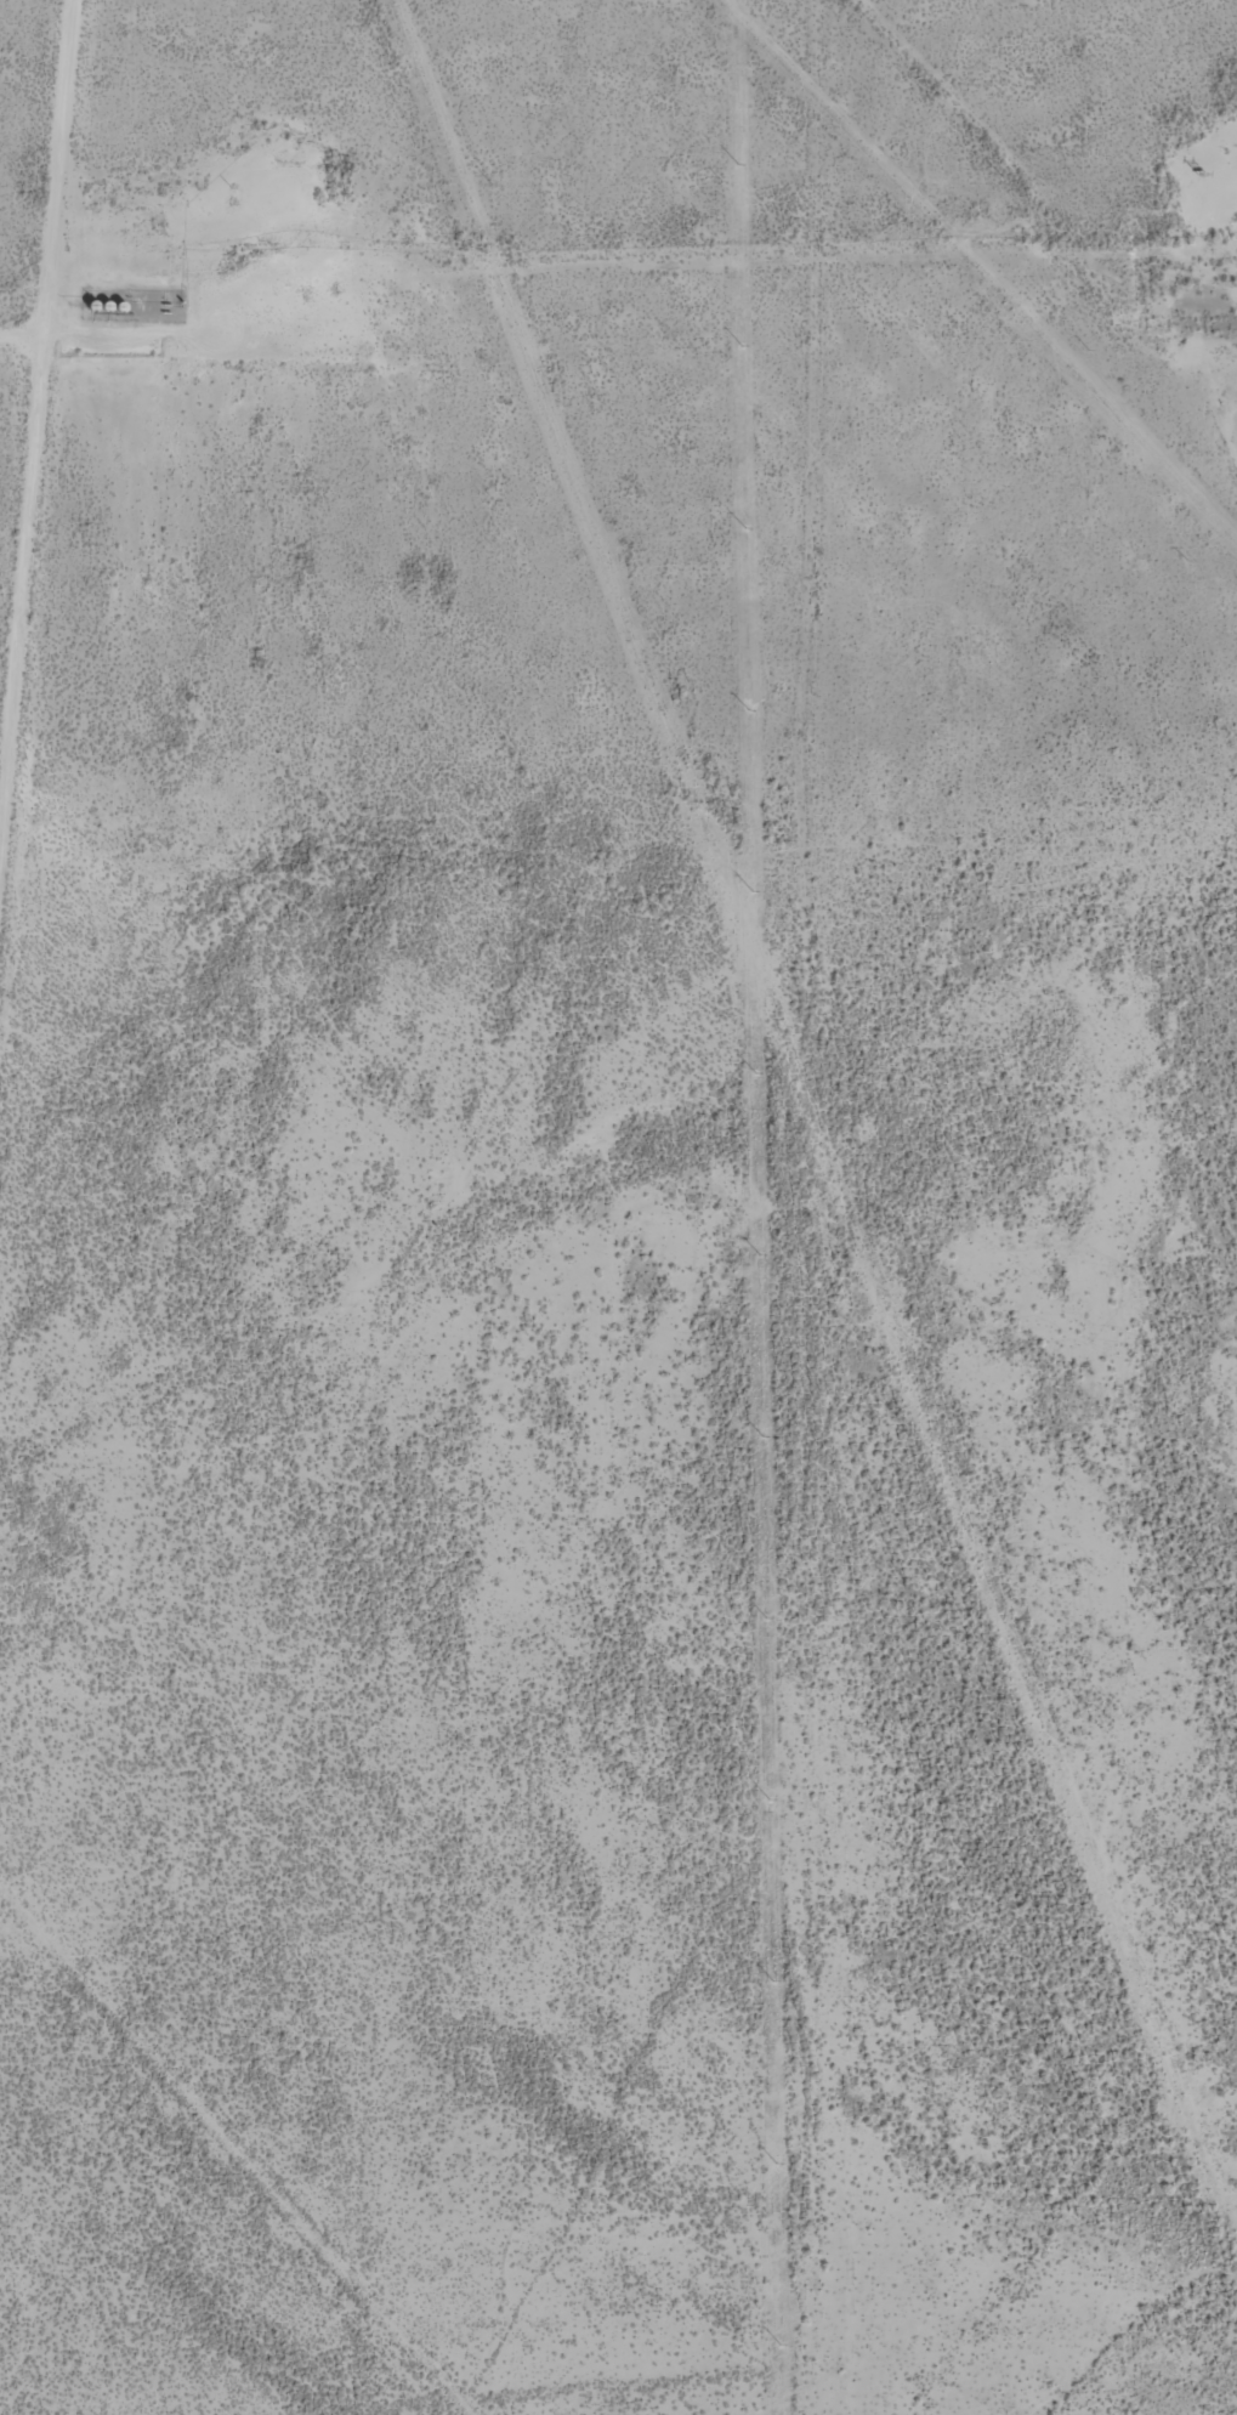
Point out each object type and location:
road: (46, 359)
road: (833, 1207)

